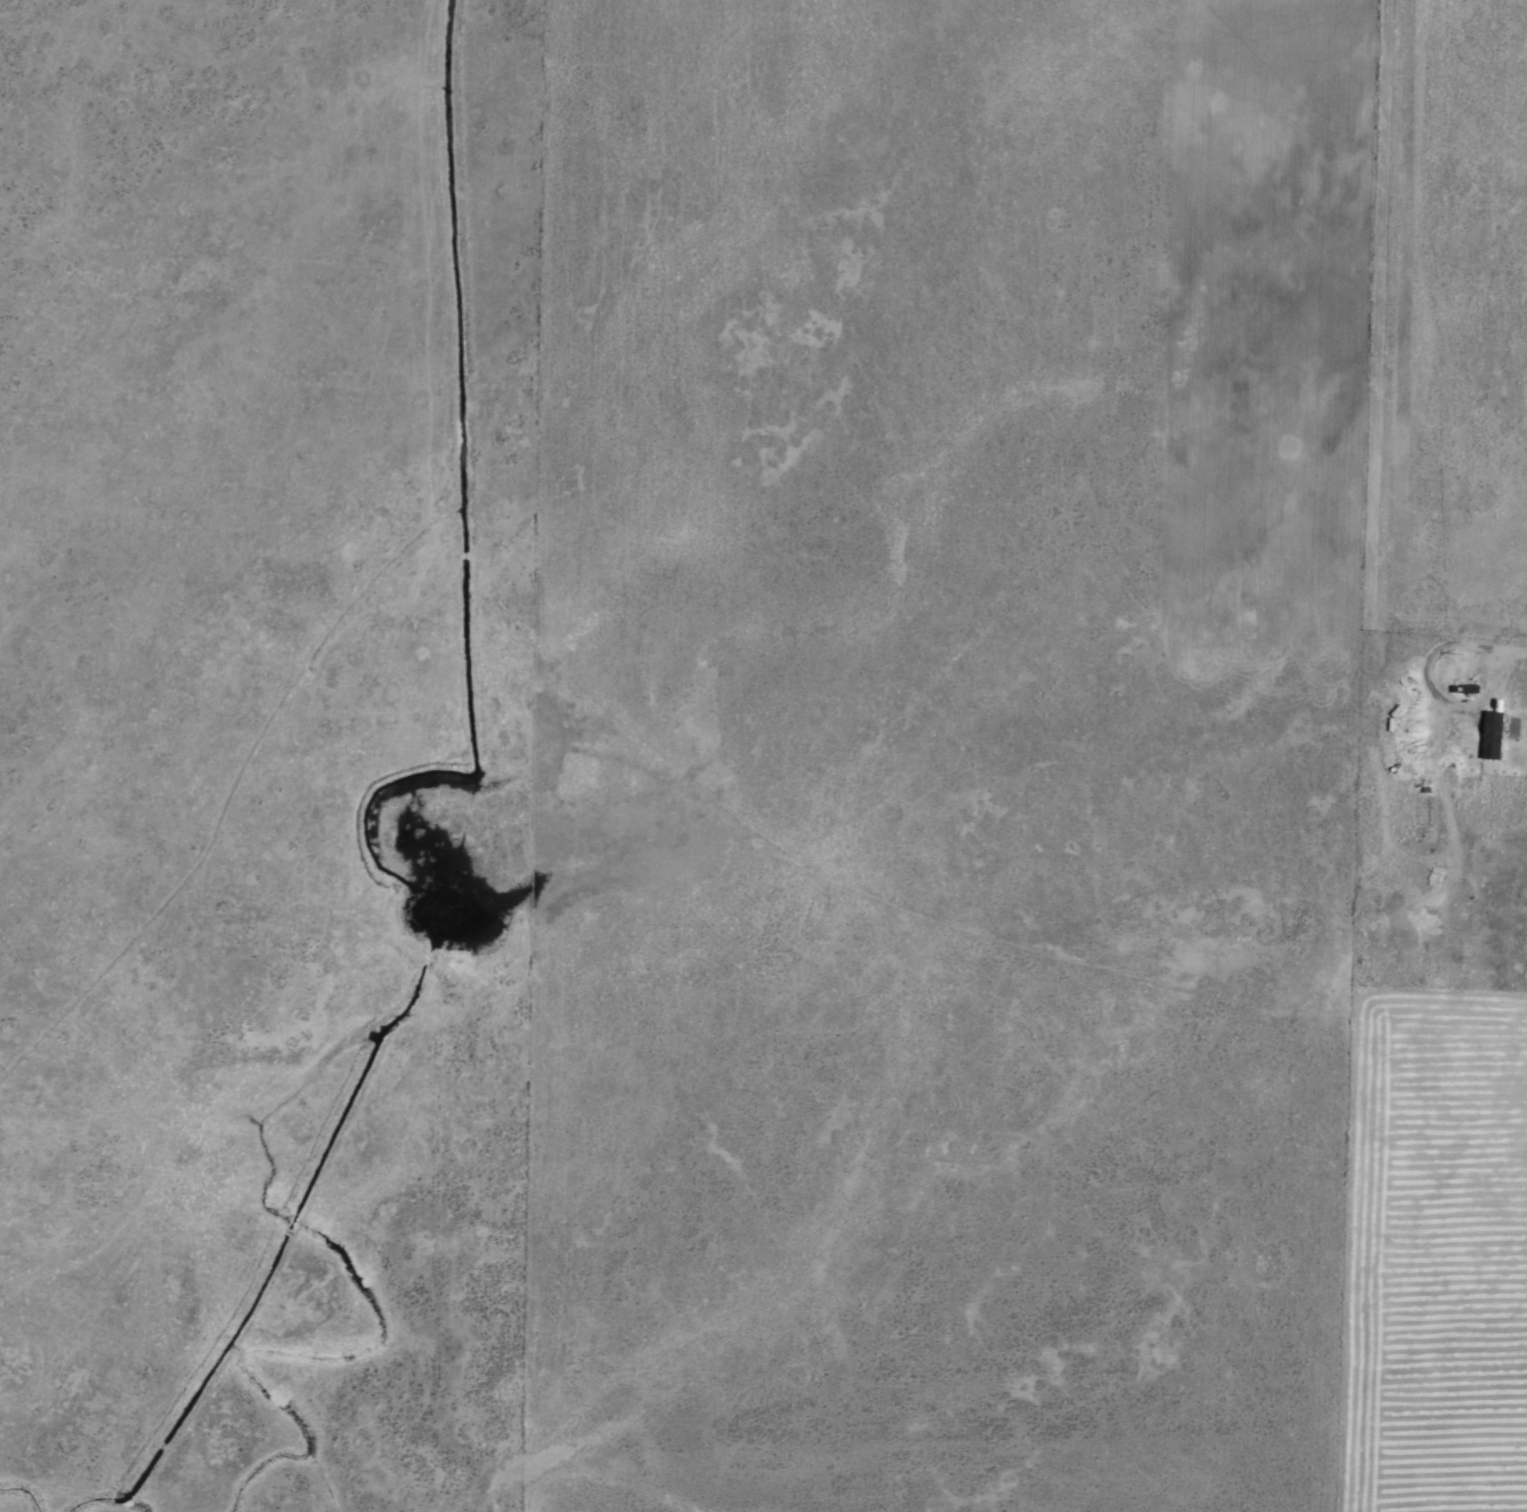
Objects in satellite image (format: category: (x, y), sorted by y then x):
road: (1492, 660)
building: (1491, 732)
crop: (763, 756)

